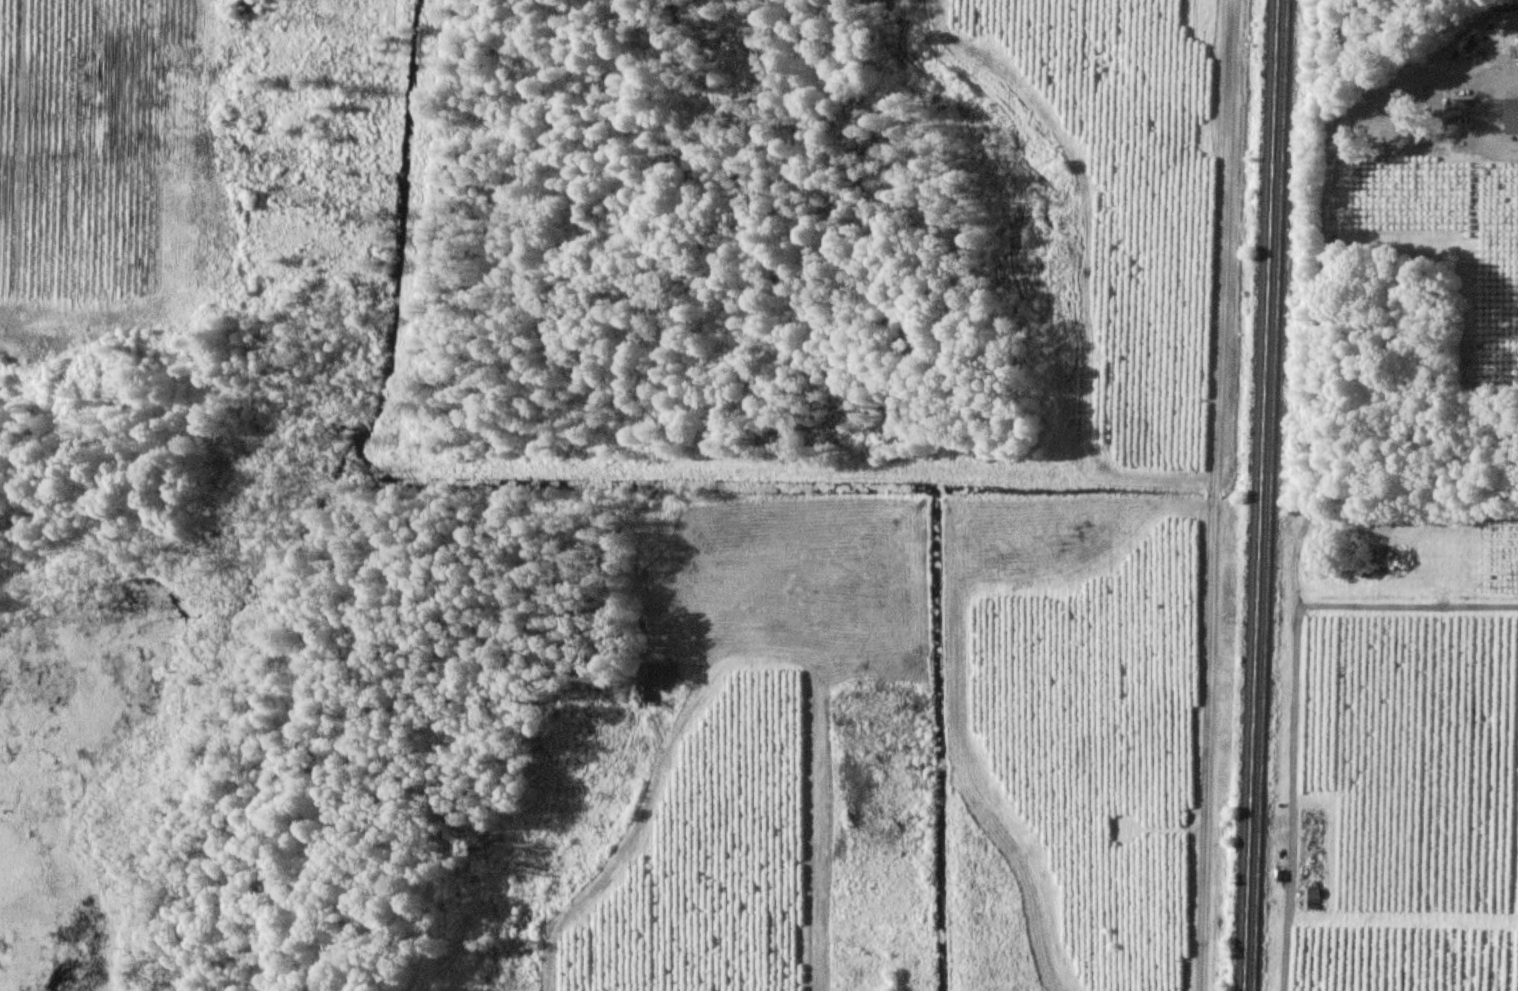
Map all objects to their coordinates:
building: (1511, 115)
railway: (1266, 495)
railway: (1275, 495)

